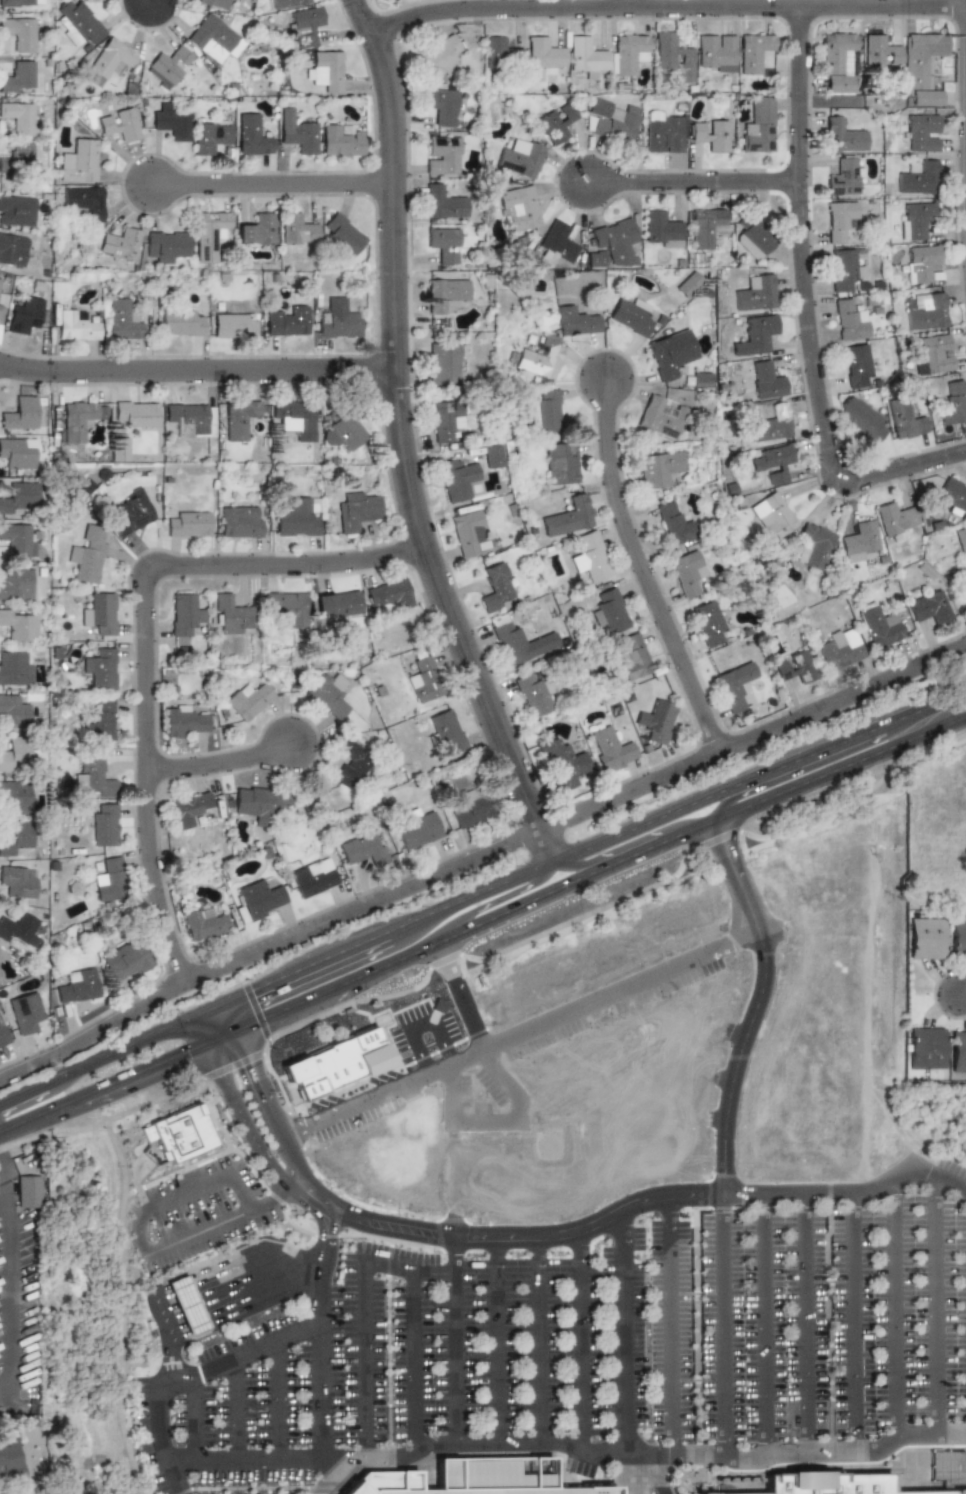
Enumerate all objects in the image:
building: (15, 2)
building: (212, 3)
building: (285, 3)
road: (625, 5)
road: (163, 6)
road: (667, 9)
building: (75, 23)
building: (303, 26)
building: (17, 34)
building: (211, 39)
building: (879, 51)
building: (501, 52)
building: (627, 53)
building: (672, 53)
building: (715, 53)
building: (754, 53)
building: (543, 54)
building: (586, 56)
building: (438, 58)
building: (107, 60)
building: (836, 61)
building: (921, 66)
building: (165, 67)
building: (325, 70)
building: (16, 77)
building: (442, 107)
building: (17, 118)
building: (610, 119)
building: (168, 121)
building: (556, 122)
building: (116, 124)
building: (758, 126)
building: (296, 131)
building: (921, 131)
building: (662, 133)
building: (709, 133)
building: (843, 134)
building: (251, 135)
building: (207, 137)
building: (339, 140)
building: (442, 155)
building: (520, 157)
building: (16, 159)
building: (76, 161)
building: (844, 177)
building: (917, 178)
road: (691, 181)
road: (278, 199)
building: (82, 202)
building: (442, 202)
building: (518, 207)
building: (16, 210)
building: (914, 219)
building: (837, 221)
building: (706, 228)
building: (662, 229)
building: (255, 230)
building: (296, 230)
building: (208, 235)
building: (341, 235)
building: (753, 238)
building: (558, 241)
building: (117, 244)
building: (442, 244)
building: (163, 245)
building: (611, 245)
building: (12, 250)
building: (919, 263)
building: (845, 268)
building: (687, 285)
building: (754, 293)
building: (444, 295)
building: (1, 301)
building: (924, 311)
building: (25, 312)
road: (805, 313)
building: (630, 316)
building: (120, 320)
building: (337, 320)
building: (847, 320)
building: (575, 321)
building: (284, 322)
building: (178, 323)
building: (230, 325)
building: (73, 326)
building: (755, 335)
building: (670, 354)
building: (931, 355)
building: (539, 358)
building: (442, 362)
building: (856, 365)
building: (763, 379)
building: (701, 380)
road: (198, 386)
building: (952, 403)
building: (19, 413)
building: (540, 413)
building: (134, 414)
building: (187, 415)
building: (660, 417)
building: (236, 418)
building: (290, 418)
building: (861, 418)
building: (904, 418)
building: (78, 419)
building: (442, 420)
building: (771, 423)
building: (338, 431)
road: (402, 441)
building: (117, 449)
building: (16, 451)
building: (488, 455)
building: (560, 462)
building: (772, 463)
building: (658, 469)
building: (453, 479)
building: (952, 496)
building: (18, 498)
building: (354, 510)
building: (130, 514)
building: (772, 516)
building: (568, 517)
building: (295, 519)
building: (894, 520)
building: (240, 521)
building: (188, 524)
building: (673, 524)
building: (463, 532)
building: (15, 538)
building: (960, 538)
building: (860, 541)
building: (814, 547)
building: (87, 555)
building: (589, 557)
road: (640, 568)
building: (688, 573)
building: (16, 584)
building: (492, 587)
building: (965, 591)
building: (387, 595)
building: (336, 604)
building: (281, 606)
building: (929, 607)
building: (608, 611)
building: (100, 613)
building: (231, 615)
building: (183, 616)
building: (708, 622)
building: (18, 625)
building: (878, 625)
building: (517, 641)
road: (151, 645)
building: (838, 648)
building: (631, 656)
building: (796, 666)
building: (12, 668)
building: (100, 668)
building: (421, 677)
building: (735, 685)
building: (330, 695)
building: (531, 695)
road: (944, 697)
building: (248, 700)
building: (12, 711)
building: (99, 721)
building: (185, 721)
building: (655, 721)
building: (445, 732)
building: (609, 749)
building: (14, 754)
building: (351, 761)
building: (562, 762)
road: (816, 764)
road: (838, 767)
road: (224, 776)
building: (93, 777)
road: (738, 785)
building: (15, 797)
building: (262, 800)
building: (468, 808)
building: (187, 809)
building: (103, 825)
road: (692, 829)
building: (417, 831)
building: (15, 838)
building: (359, 848)
road: (611, 850)
road: (479, 855)
building: (312, 877)
building: (110, 880)
building: (16, 882)
road: (542, 895)
road: (468, 897)
building: (258, 899)
road: (481, 906)
building: (203, 923)
building: (17, 927)
building: (958, 934)
building: (925, 938)
road: (715, 950)
building: (1, 954)
building: (124, 961)
road: (303, 967)
building: (0, 970)
building: (77, 985)
road: (322, 993)
road: (457, 996)
road: (961, 998)
road: (596, 1001)
road: (727, 1003)
road: (208, 1009)
building: (25, 1012)
road: (227, 1018)
road: (425, 1027)
road: (202, 1029)
building: (2, 1034)
road: (220, 1037)
building: (925, 1048)
road: (120, 1049)
building: (957, 1051)
road: (444, 1065)
road: (145, 1070)
road: (22, 1093)
road: (350, 1107)
road: (40, 1114)
road: (240, 1115)
road: (270, 1118)
road: (496, 1122)
road: (293, 1131)
building: (178, 1133)
road: (3, 1179)
road: (208, 1179)
road: (278, 1188)
road: (300, 1190)
building: (28, 1191)
road: (3, 1192)
road: (208, 1225)
road: (323, 1225)
road: (136, 1228)
road: (655, 1240)
road: (281, 1249)
road: (284, 1252)
road: (212, 1264)
road: (216, 1272)
road: (241, 1275)
road: (161, 1280)
road: (118, 1283)
road: (244, 1284)
road: (7, 1294)
road: (245, 1295)
road: (158, 1303)
road: (935, 1304)
building: (186, 1305)
road: (248, 1305)
road: (893, 1309)
road: (723, 1322)
road: (765, 1322)
road: (853, 1322)
road: (805, 1323)
road: (367, 1334)
road: (413, 1338)
parking lot: (586, 1339)
road: (454, 1341)
road: (539, 1343)
road: (580, 1343)
road: (625, 1343)
road: (666, 1343)
road: (497, 1344)
road: (171, 1352)
road: (244, 1352)
road: (277, 1397)
road: (235, 1406)
road: (194, 1417)
road: (165, 1423)
road: (497, 1444)
road: (326, 1450)
road: (348, 1450)
road: (796, 1452)
building: (9, 1461)
road: (654, 1473)
road: (324, 1476)
building: (874, 1476)
building: (474, 1479)

